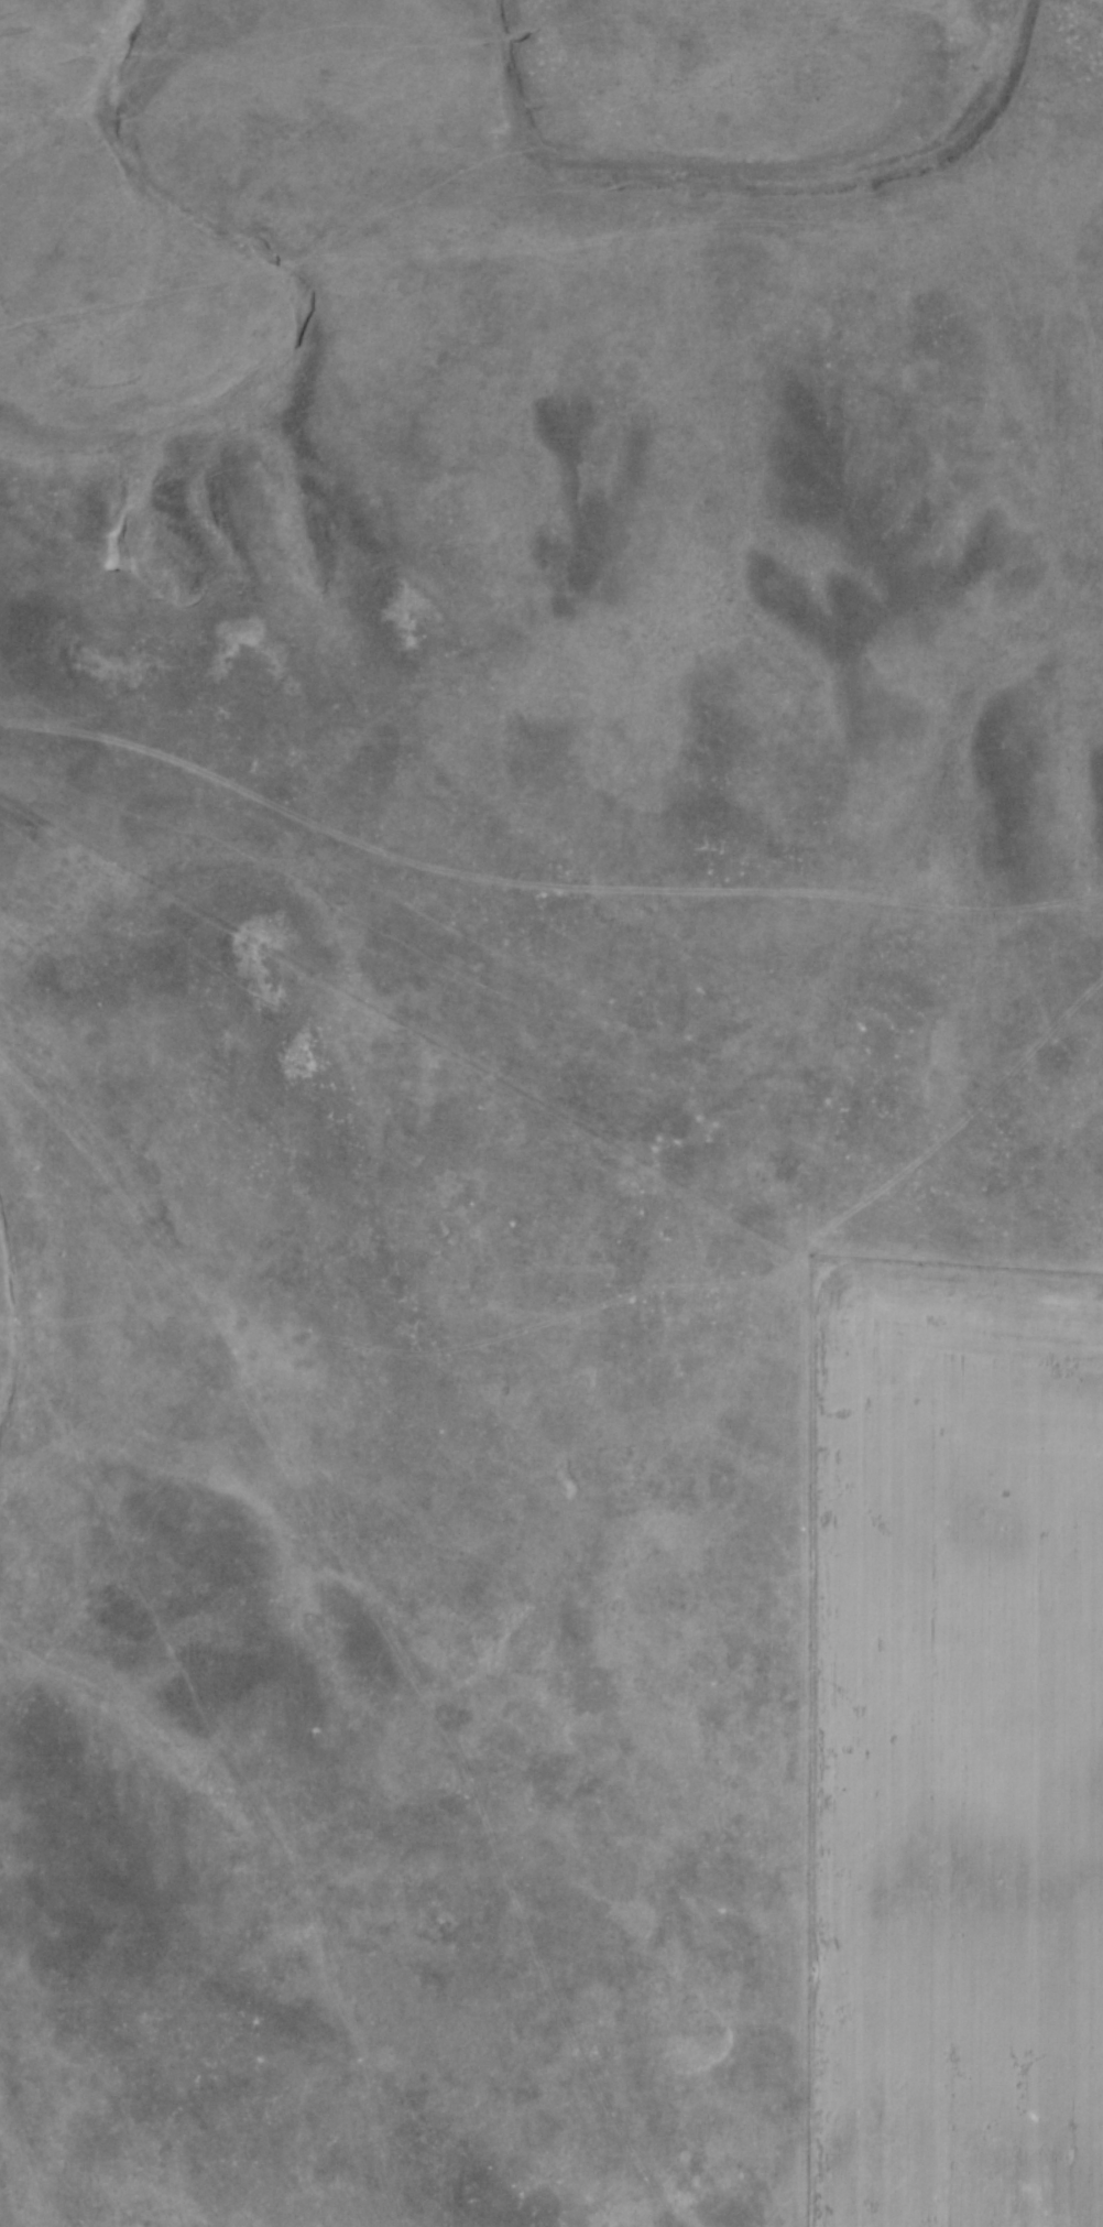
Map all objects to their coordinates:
crop: (951, 1750)

